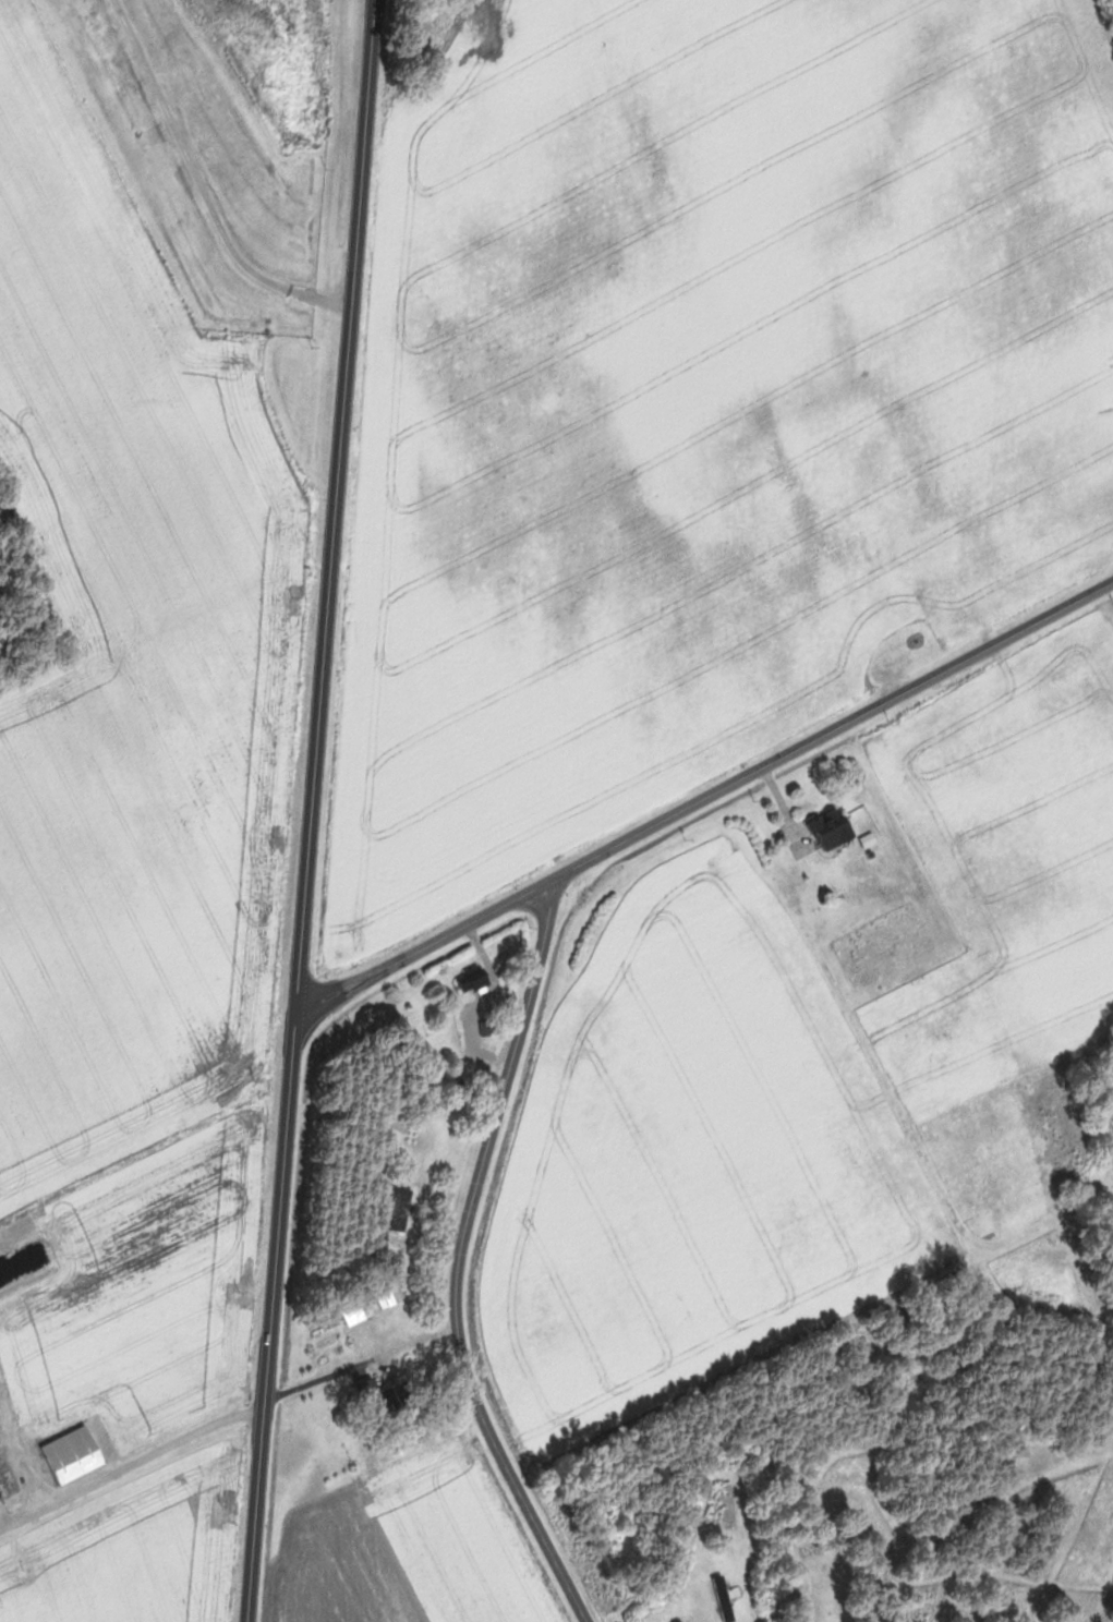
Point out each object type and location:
road: (203, 186)
road: (706, 799)
road: (314, 811)
building: (835, 830)
building: (475, 980)
building: (401, 1208)
road: (463, 1261)
building: (391, 1295)
building: (359, 1310)
road: (362, 1363)
building: (391, 1395)
building: (74, 1455)
road: (132, 1466)
building: (728, 1598)

